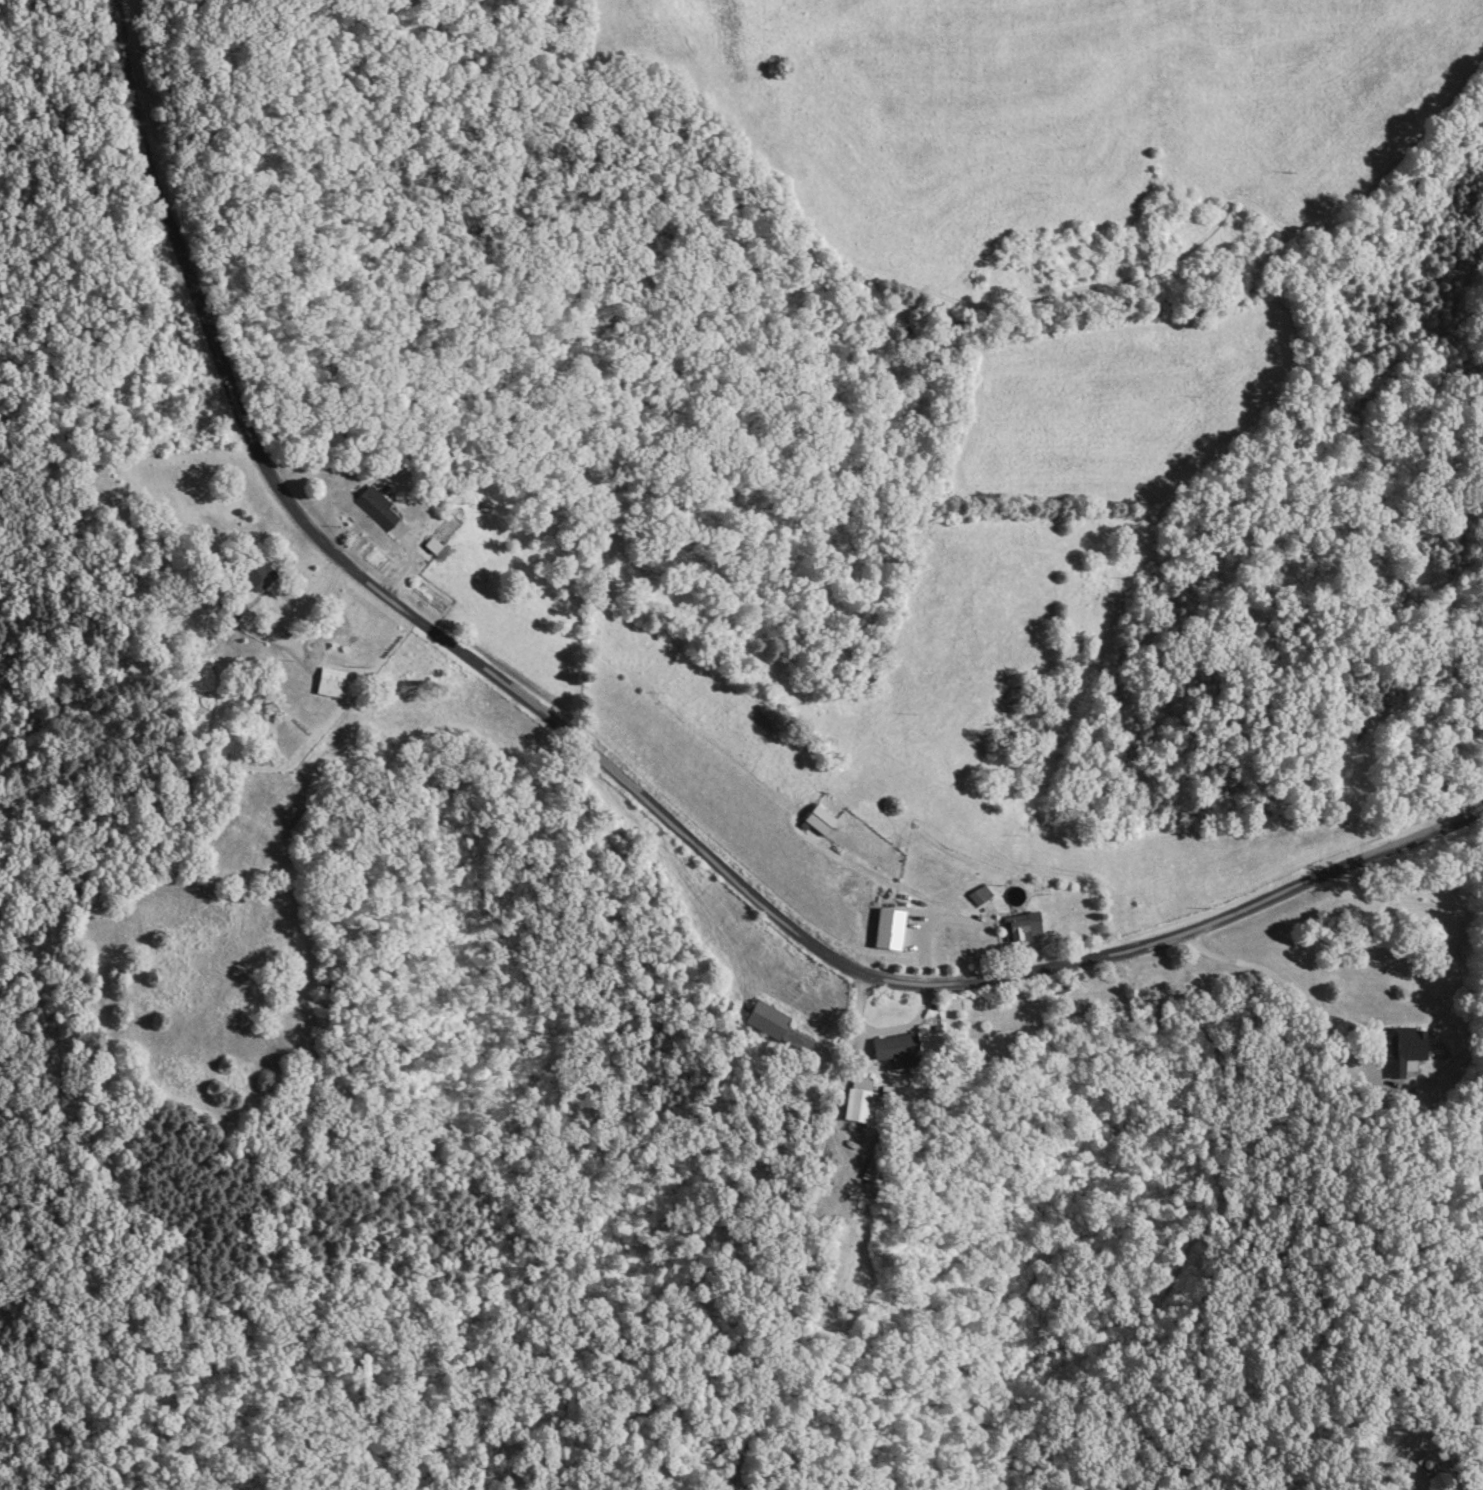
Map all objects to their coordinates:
building: (379, 509)
building: (229, 608)
building: (332, 684)
road: (622, 788)
building: (822, 822)
building: (1044, 888)
building: (981, 897)
building: (1025, 927)
building: (778, 1030)
building: (900, 1049)
building: (1409, 1049)
building: (860, 1100)
road: (803, 1235)
road: (1393, 1489)

